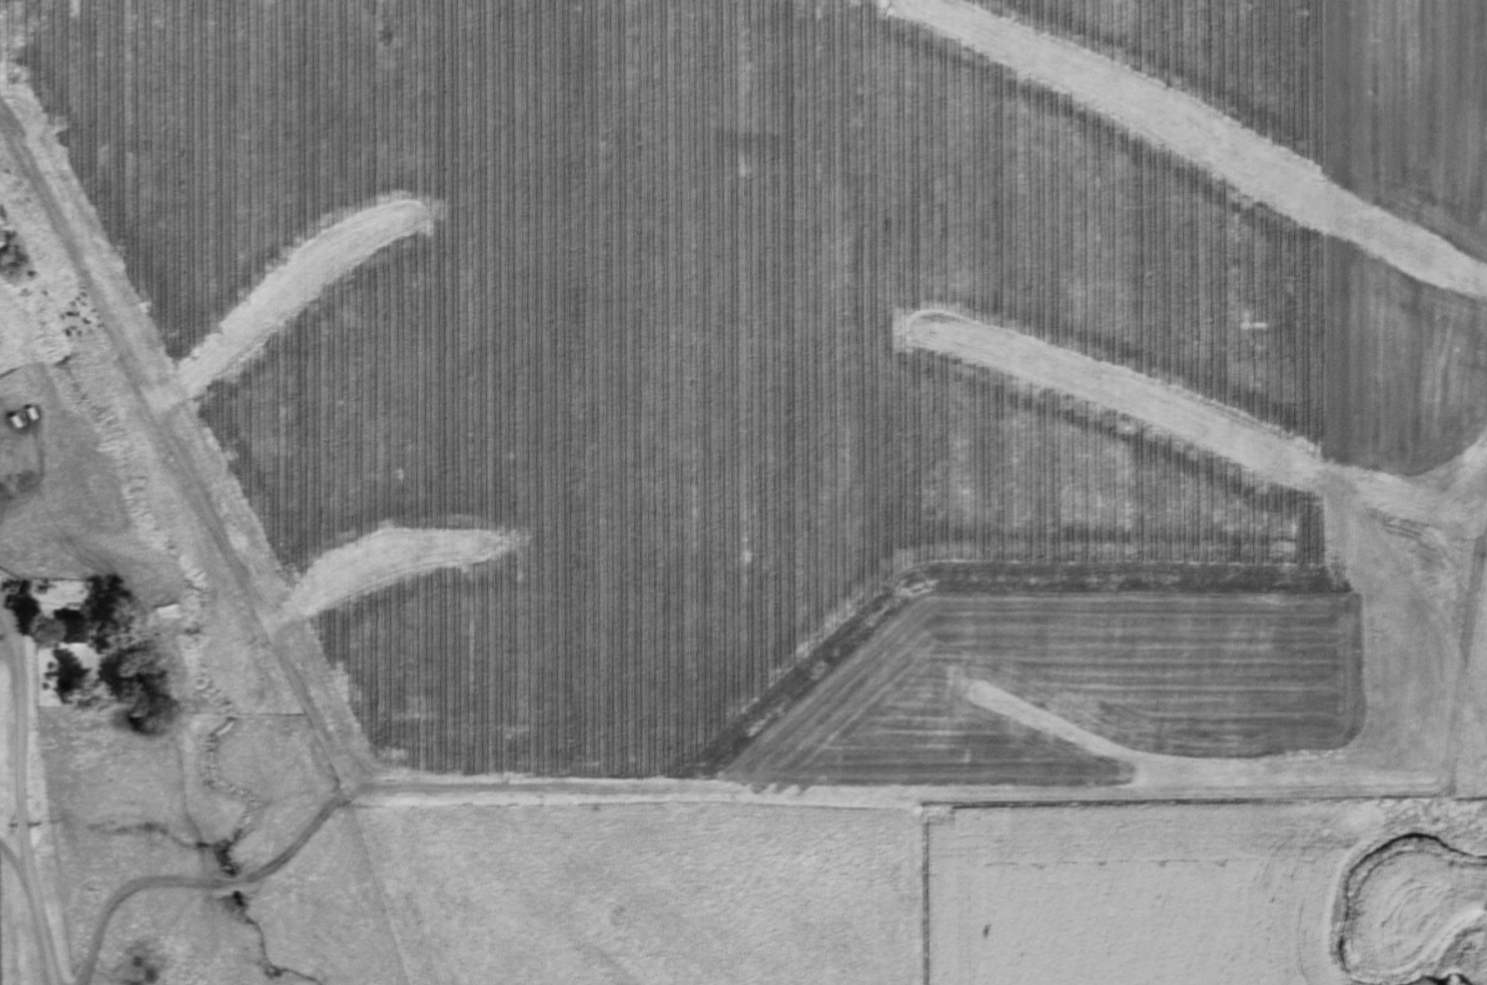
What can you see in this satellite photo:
building: (35, 587)
building: (72, 631)
road: (26, 798)

